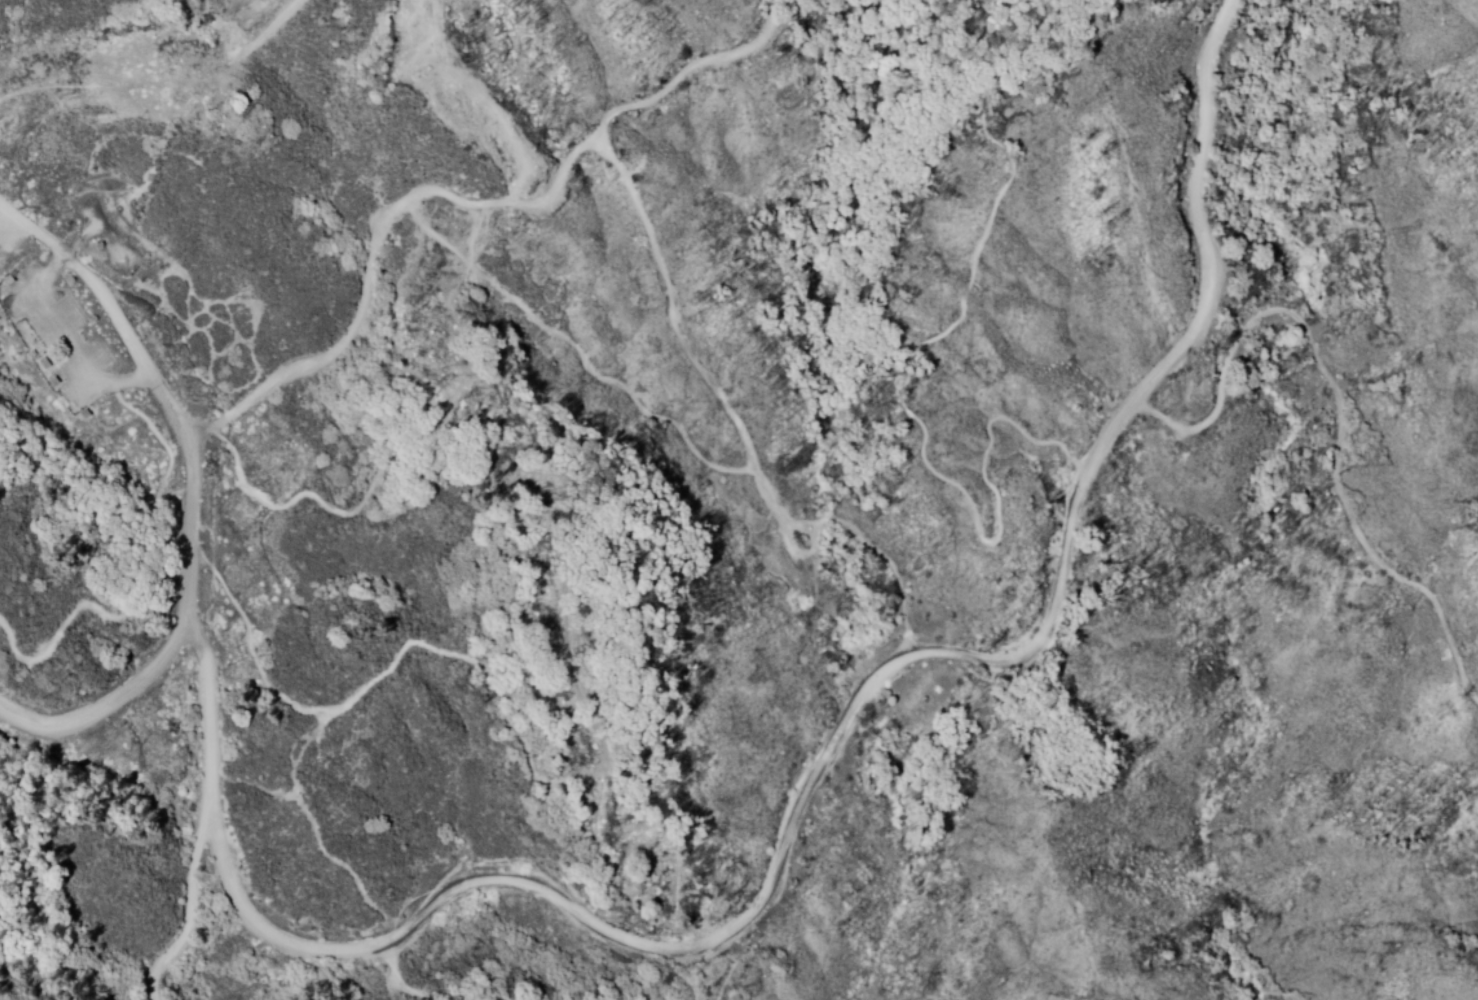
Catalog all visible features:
road: (459, 202)
road: (124, 214)
road: (97, 226)
parking lot: (110, 239)
road: (105, 306)
road: (235, 335)
parking lot: (50, 340)
road: (61, 342)
road: (572, 352)
road: (897, 386)
road: (1141, 391)
road: (735, 424)
road: (184, 528)
road: (149, 550)
road: (795, 551)
road: (559, 631)
road: (107, 706)
road: (496, 880)
road: (189, 912)

